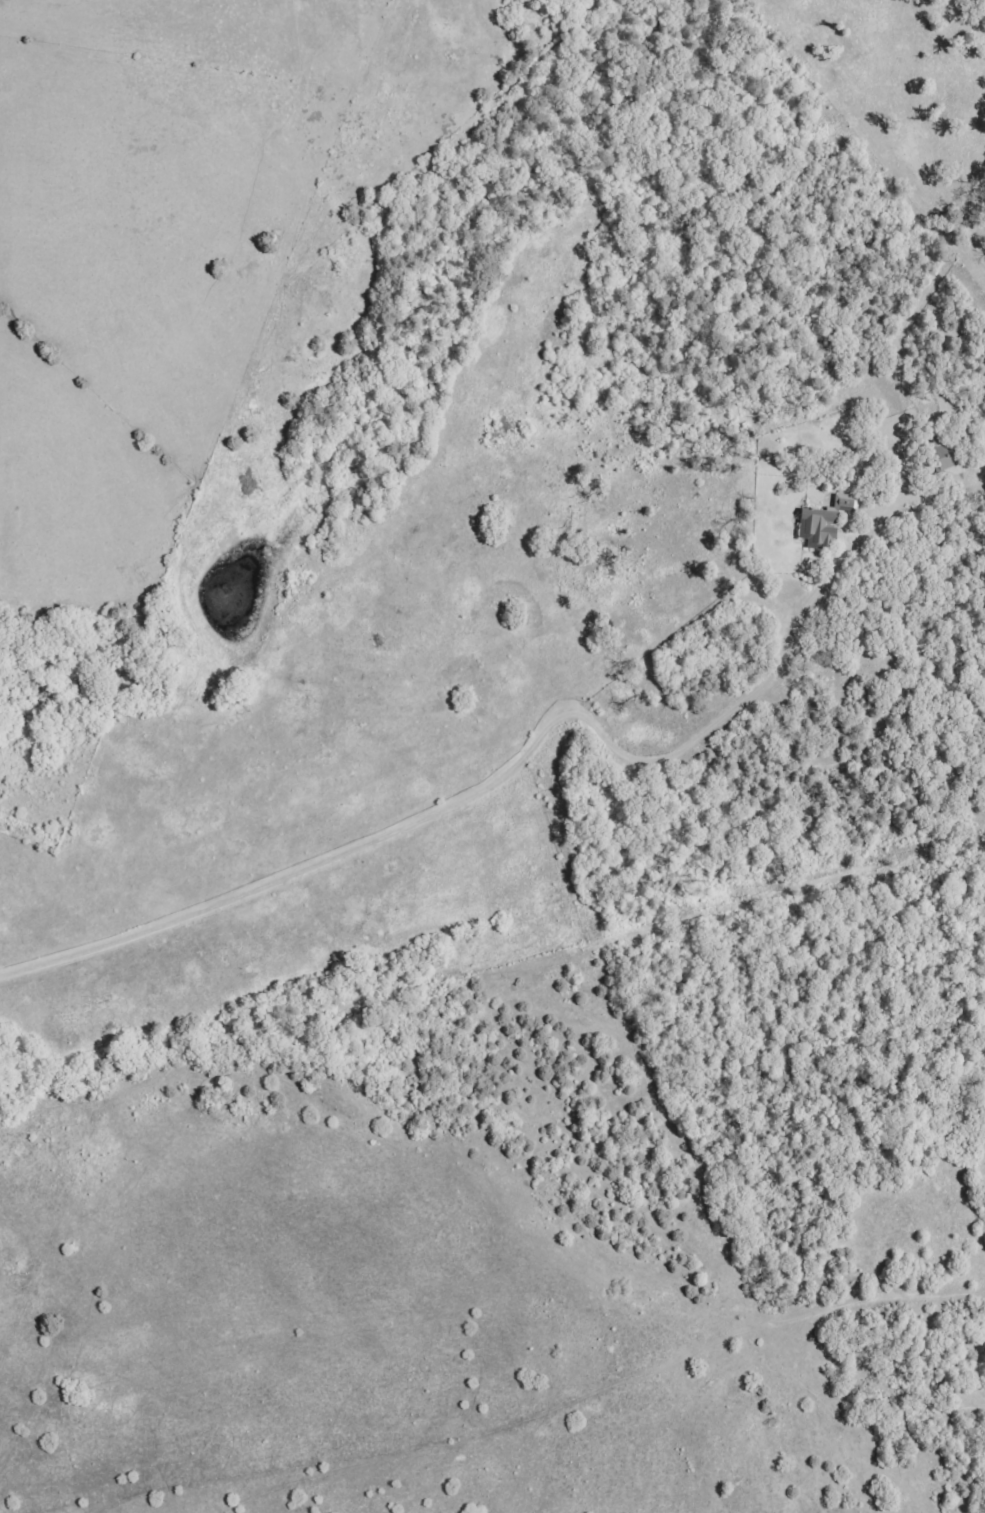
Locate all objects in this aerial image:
building: (948, 453)
road: (498, 775)

